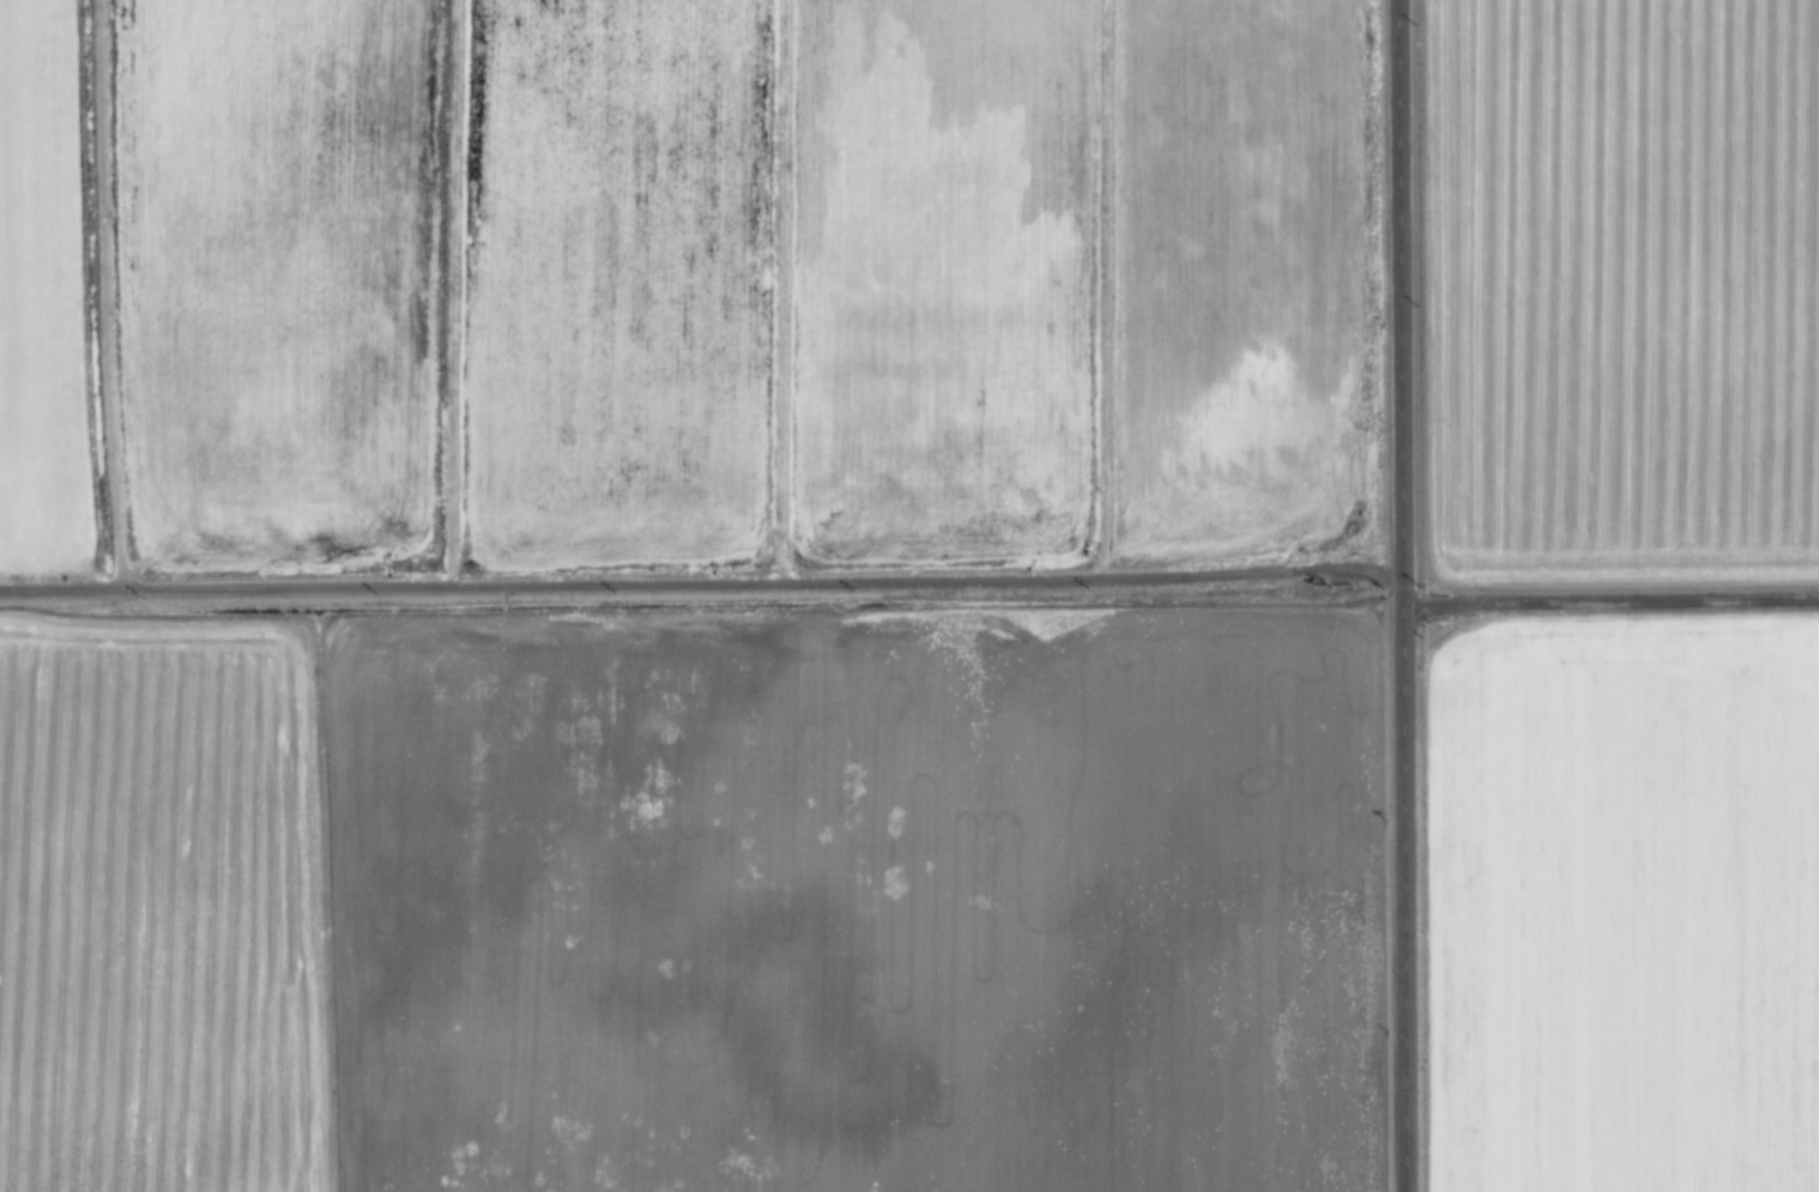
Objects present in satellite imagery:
road: (1391, 595)

